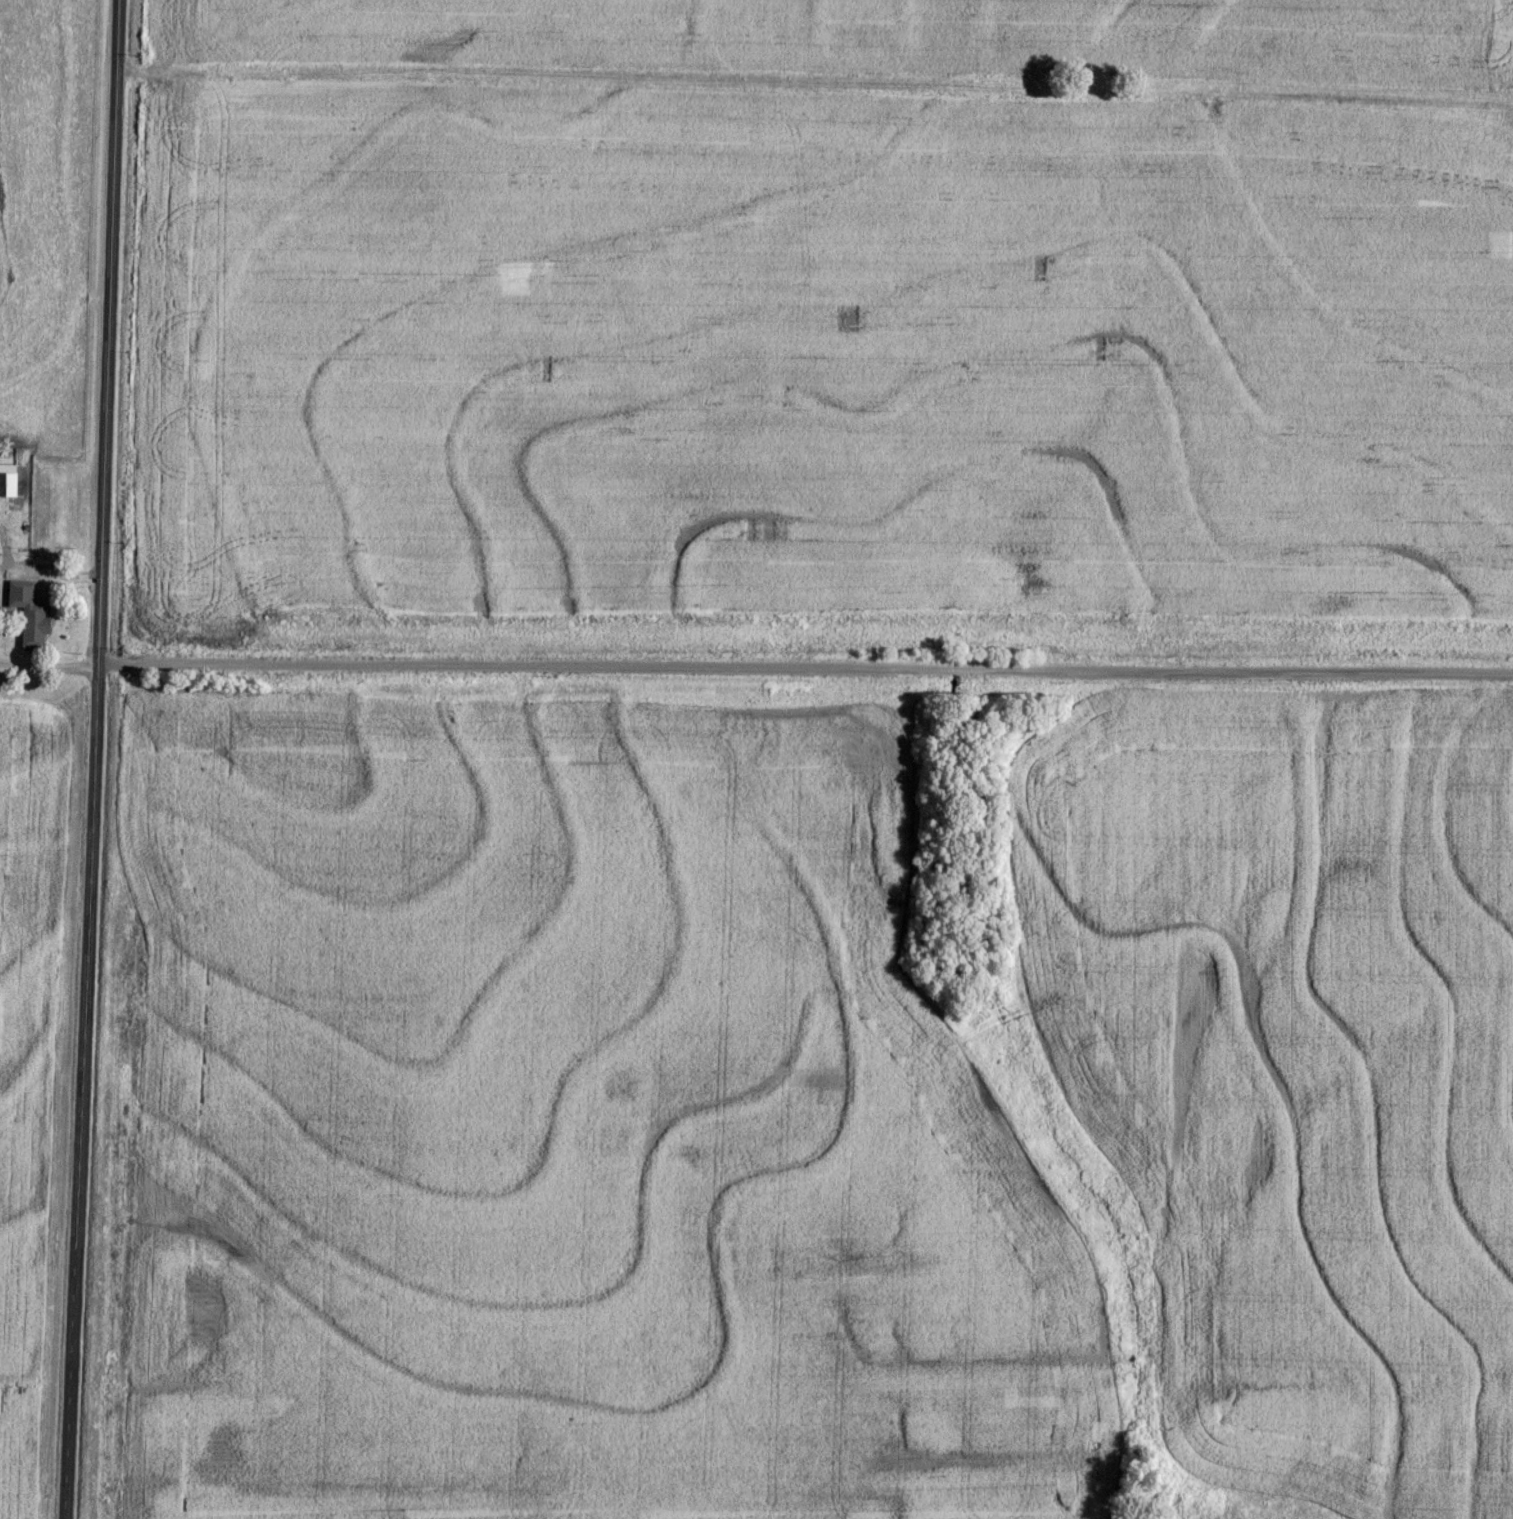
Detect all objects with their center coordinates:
building: (9, 480)
building: (31, 613)
road: (48, 667)
road: (804, 670)
road: (94, 759)
crop: (569, 1123)

